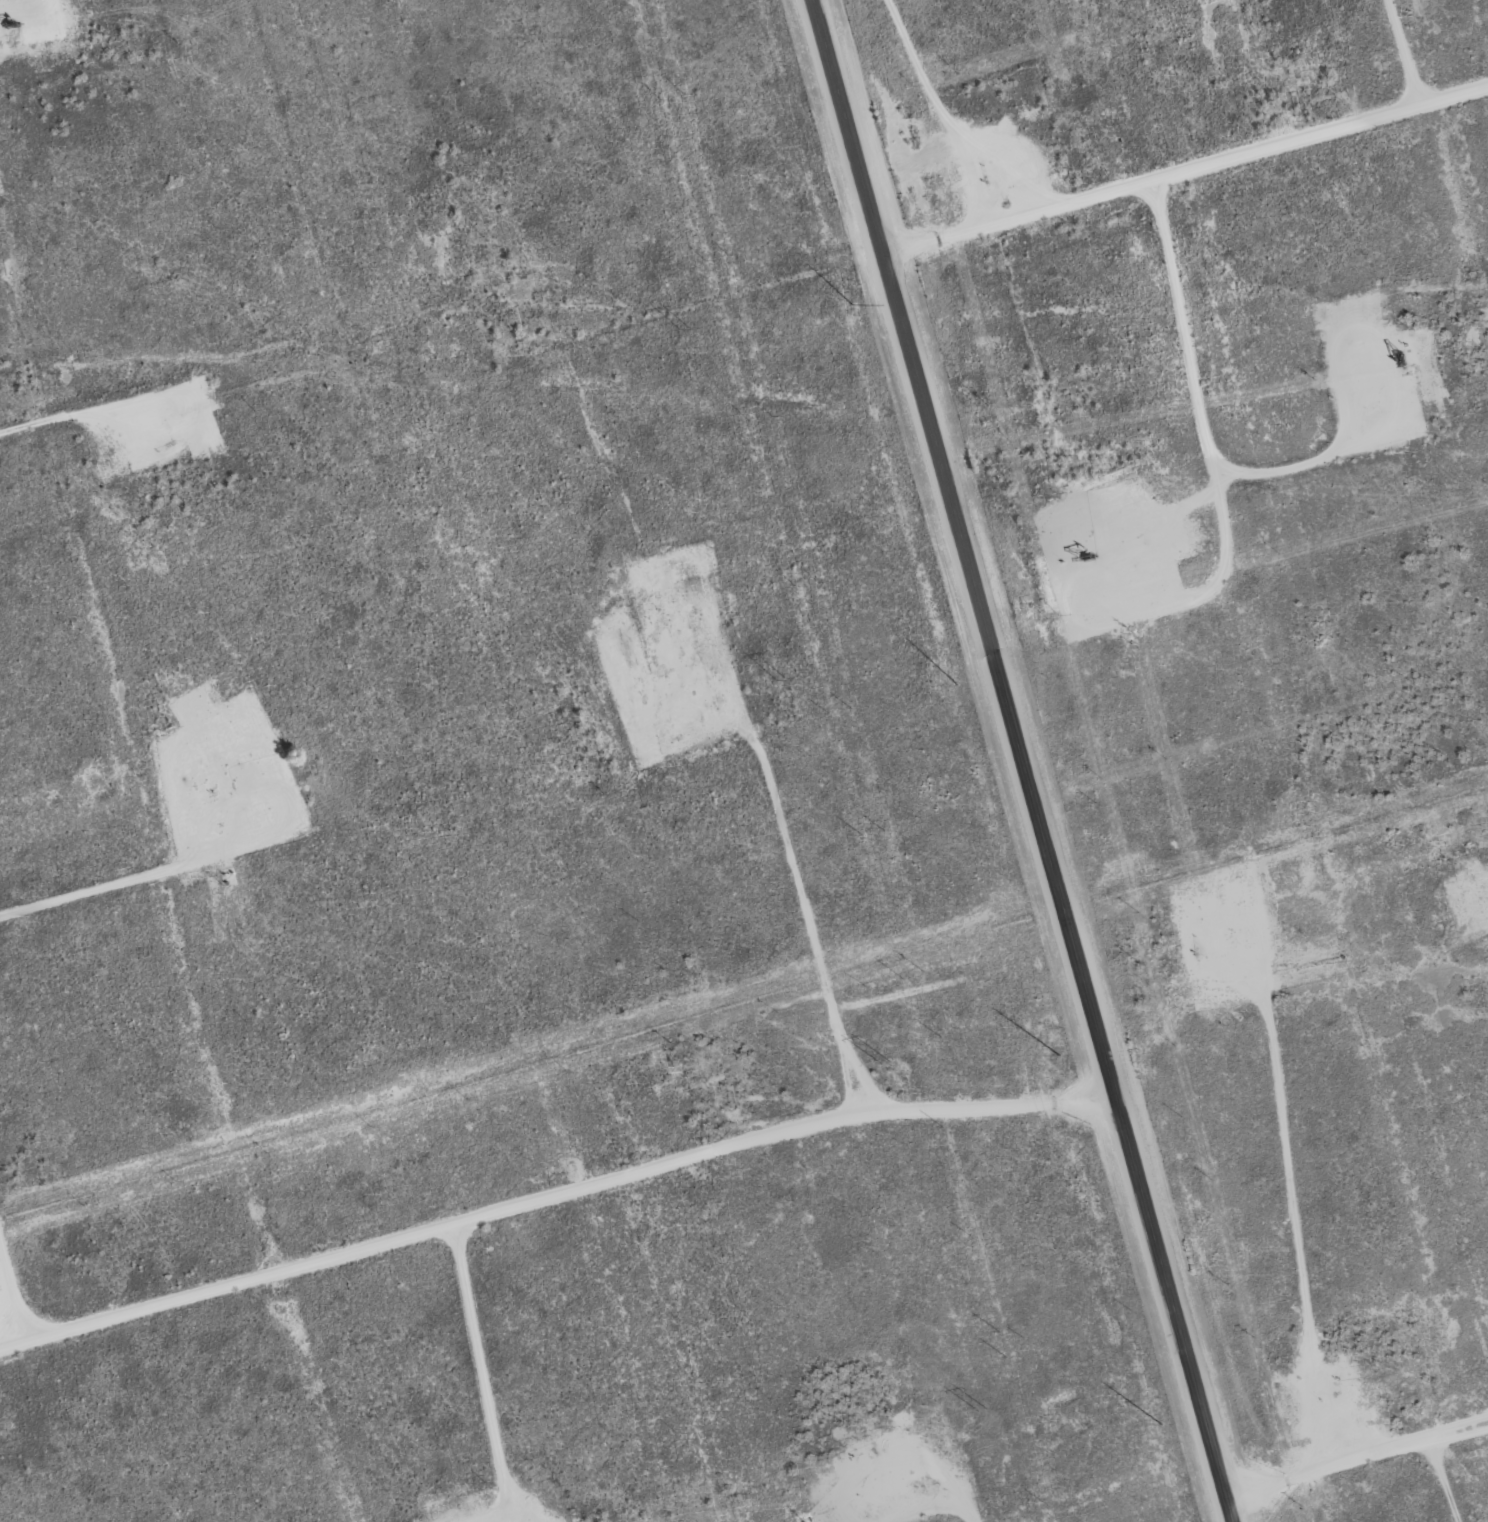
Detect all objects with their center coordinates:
road: (1184, 169)
power tower: (683, 327)
petroleum well: (1082, 558)
power tower: (780, 678)
road: (1020, 760)
power tower: (887, 1062)
road: (553, 1194)
road: (14, 1287)
petroleum well: (1334, 1401)
power tower: (983, 1410)
petroleum well: (866, 1449)
road: (1355, 1457)

